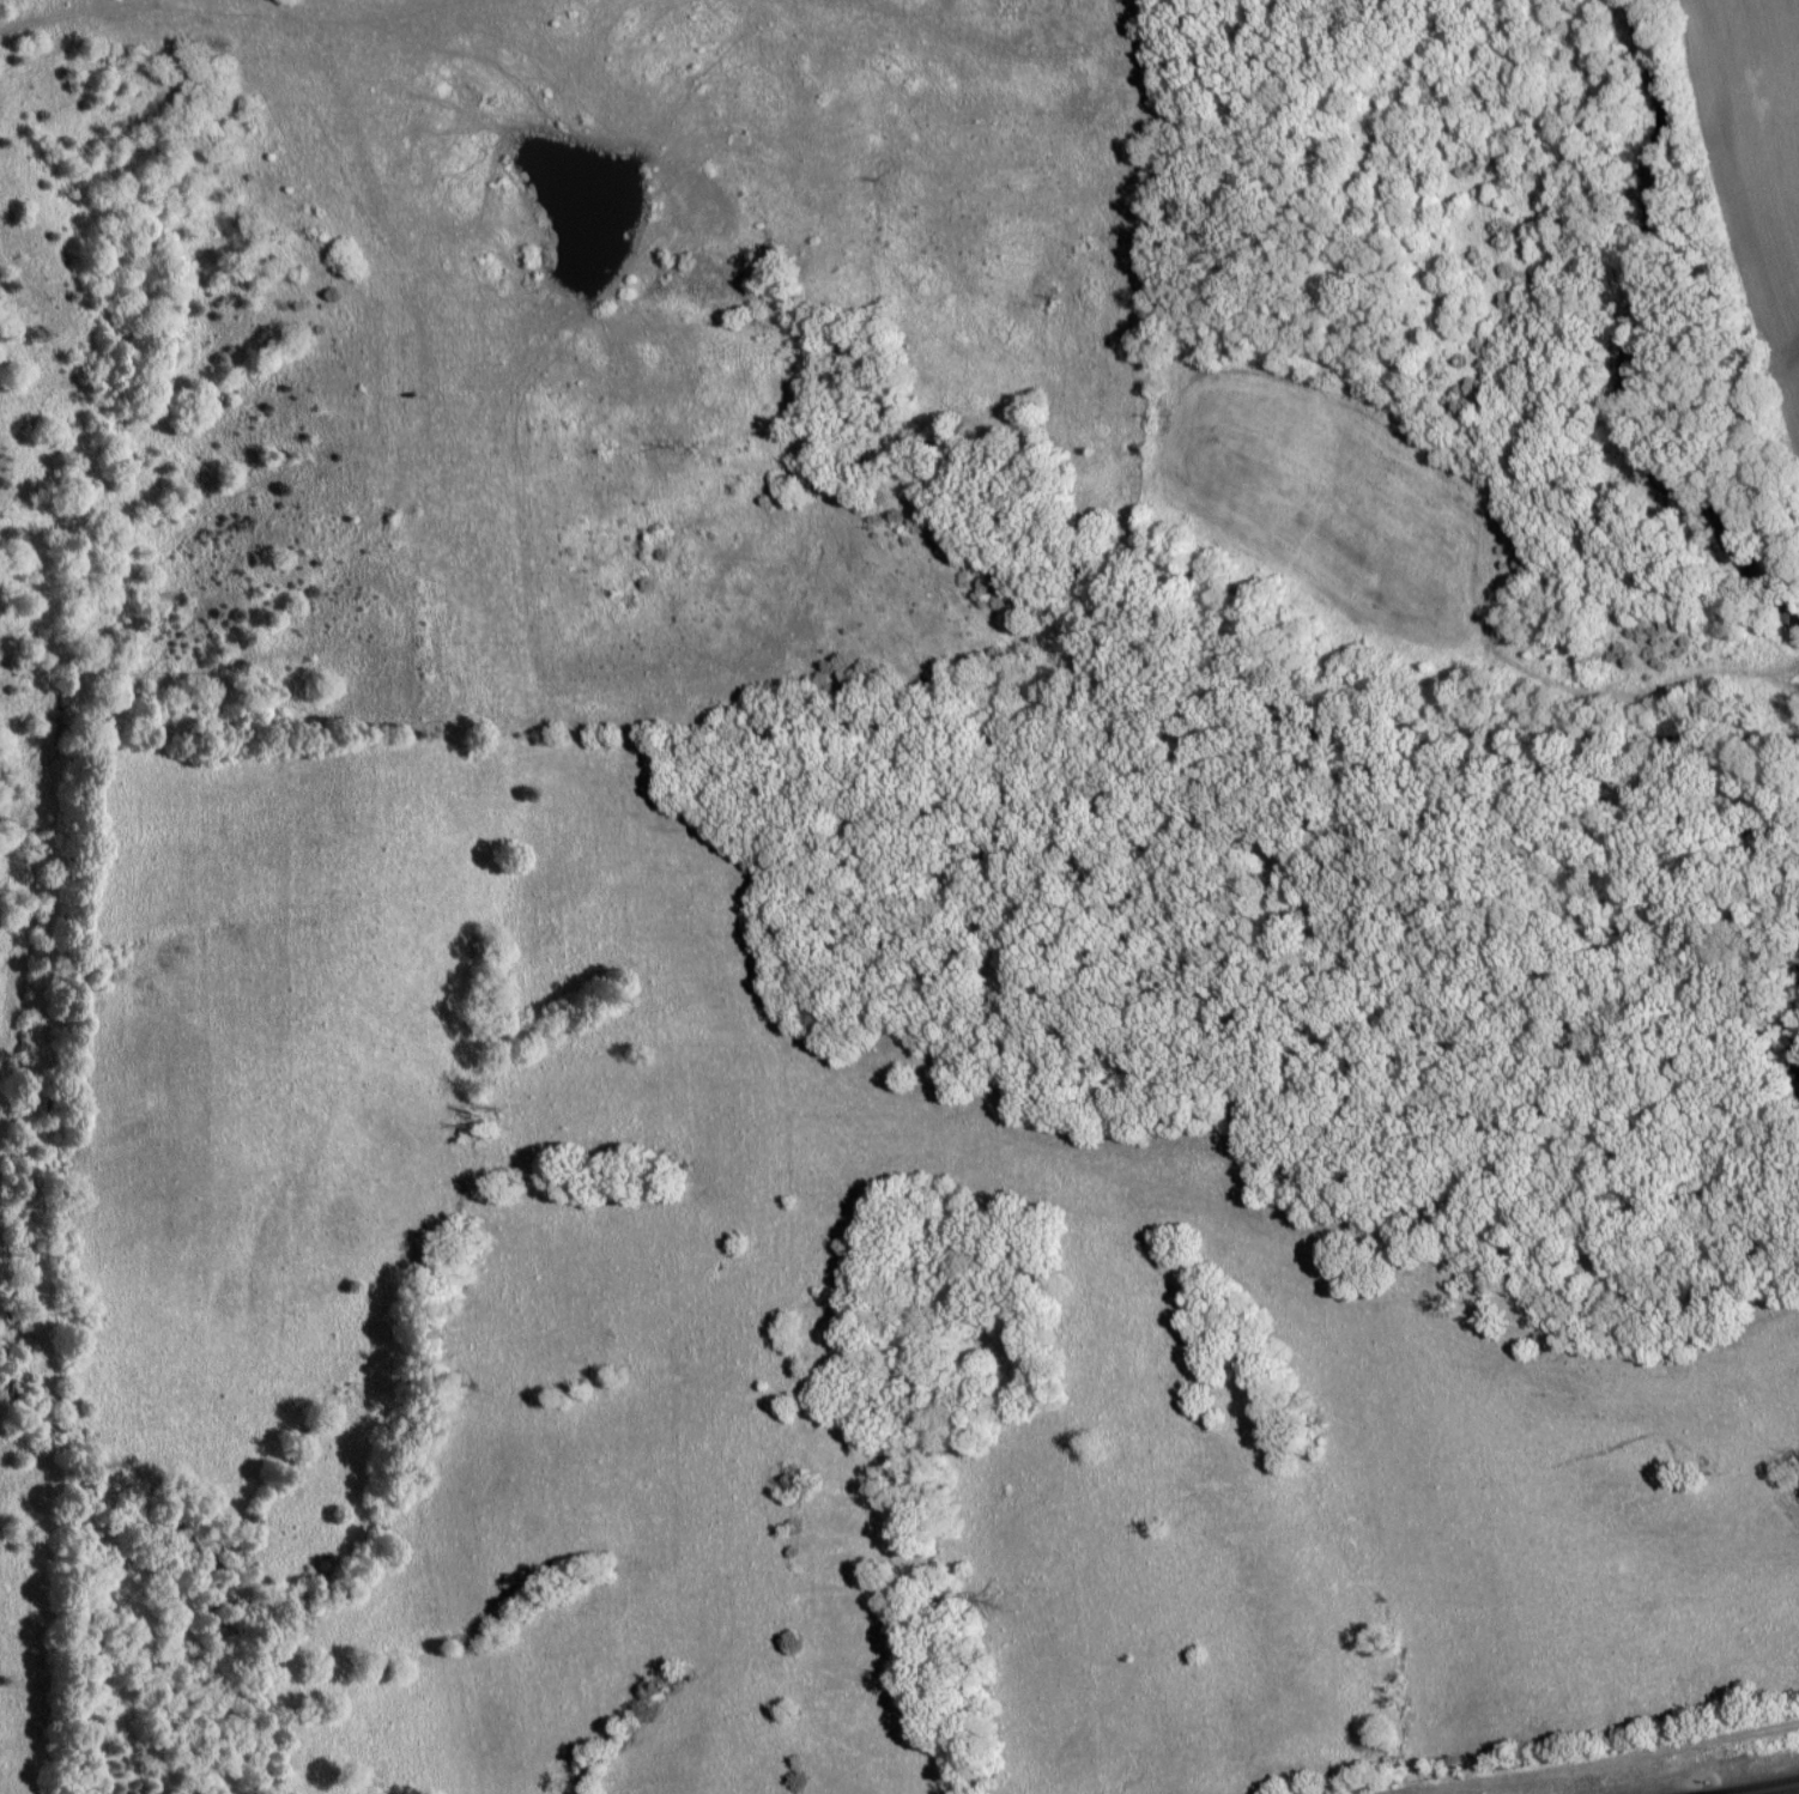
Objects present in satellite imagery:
road: (1593, 1766)
railway: (1755, 1786)
road: (1428, 1792)
railway: (1788, 1792)

